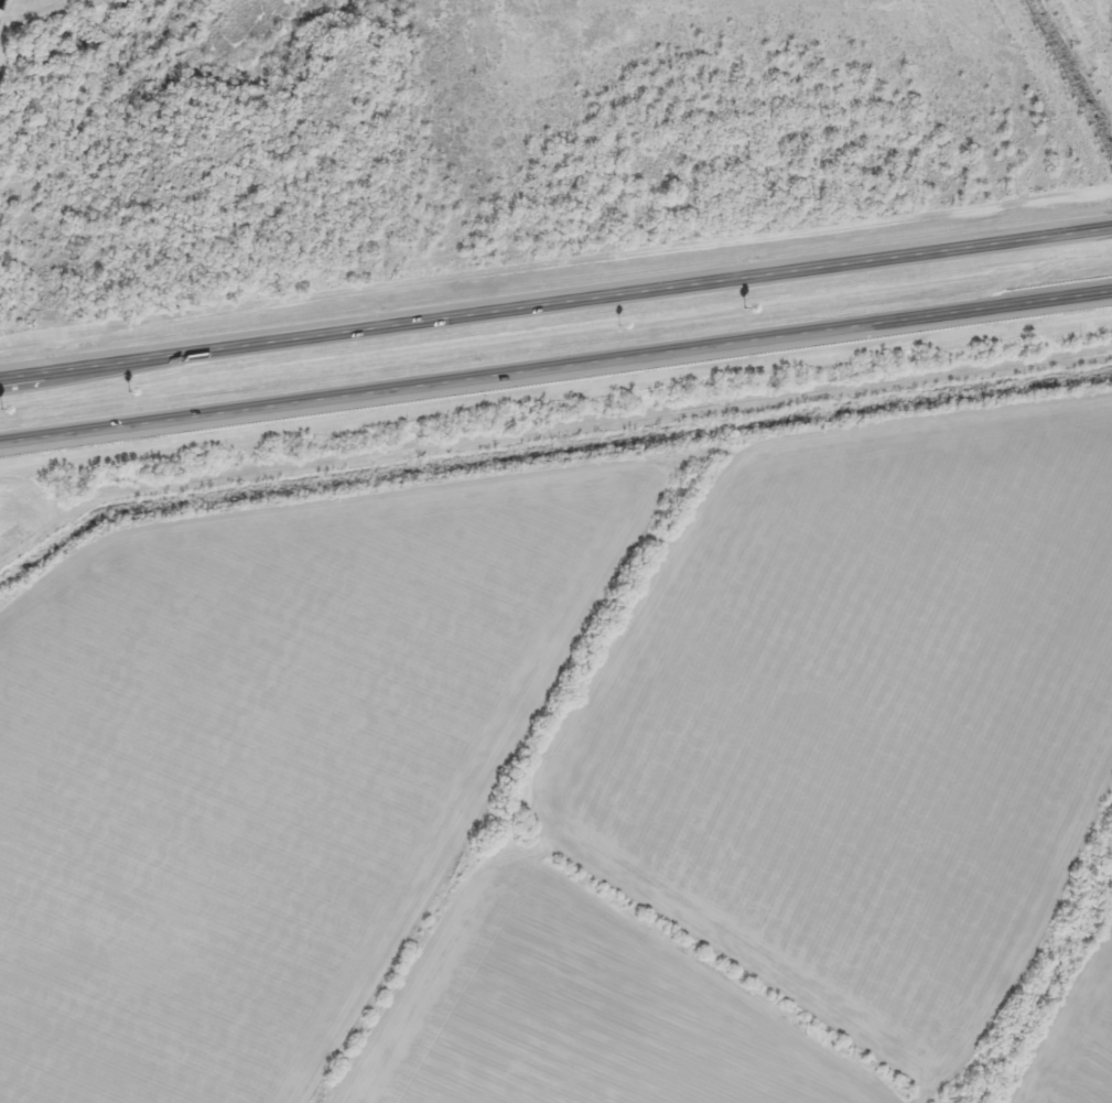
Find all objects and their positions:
road: (555, 300)
road: (555, 369)

